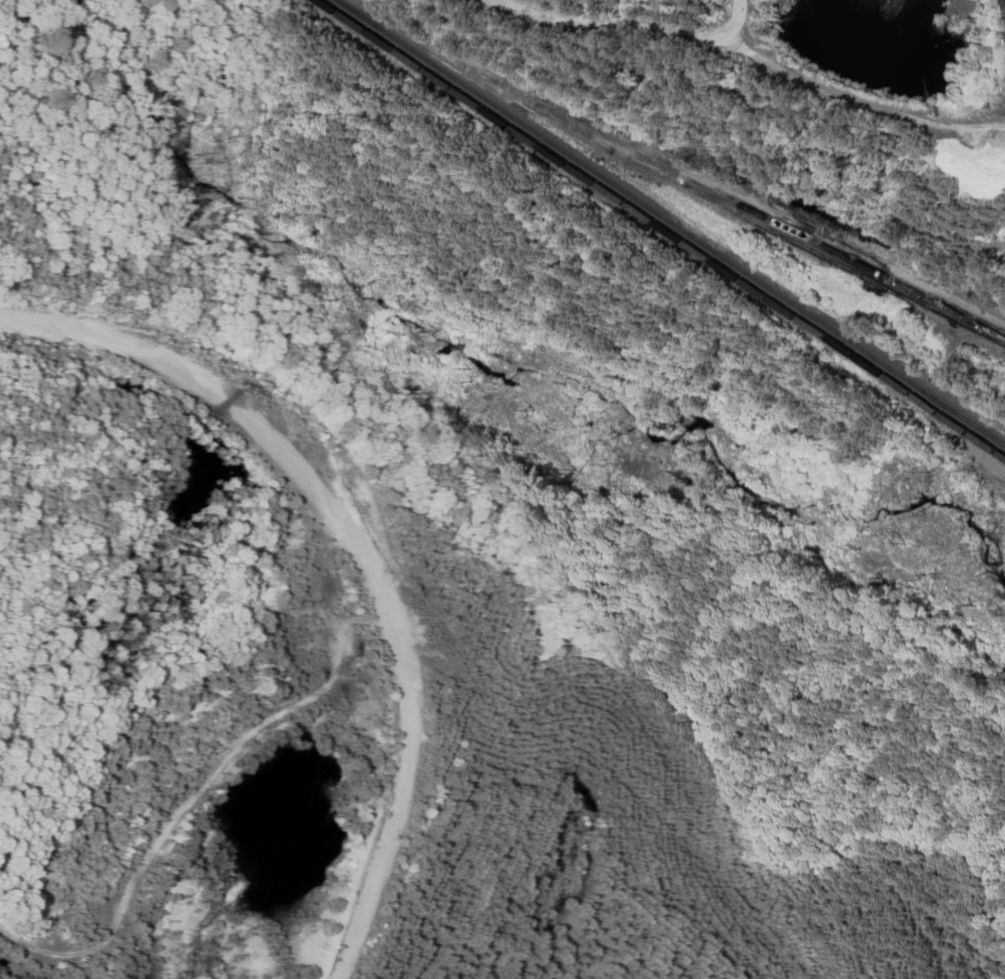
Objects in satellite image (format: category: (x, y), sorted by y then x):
railway: (671, 221)
railway: (662, 229)
railway: (985, 424)

